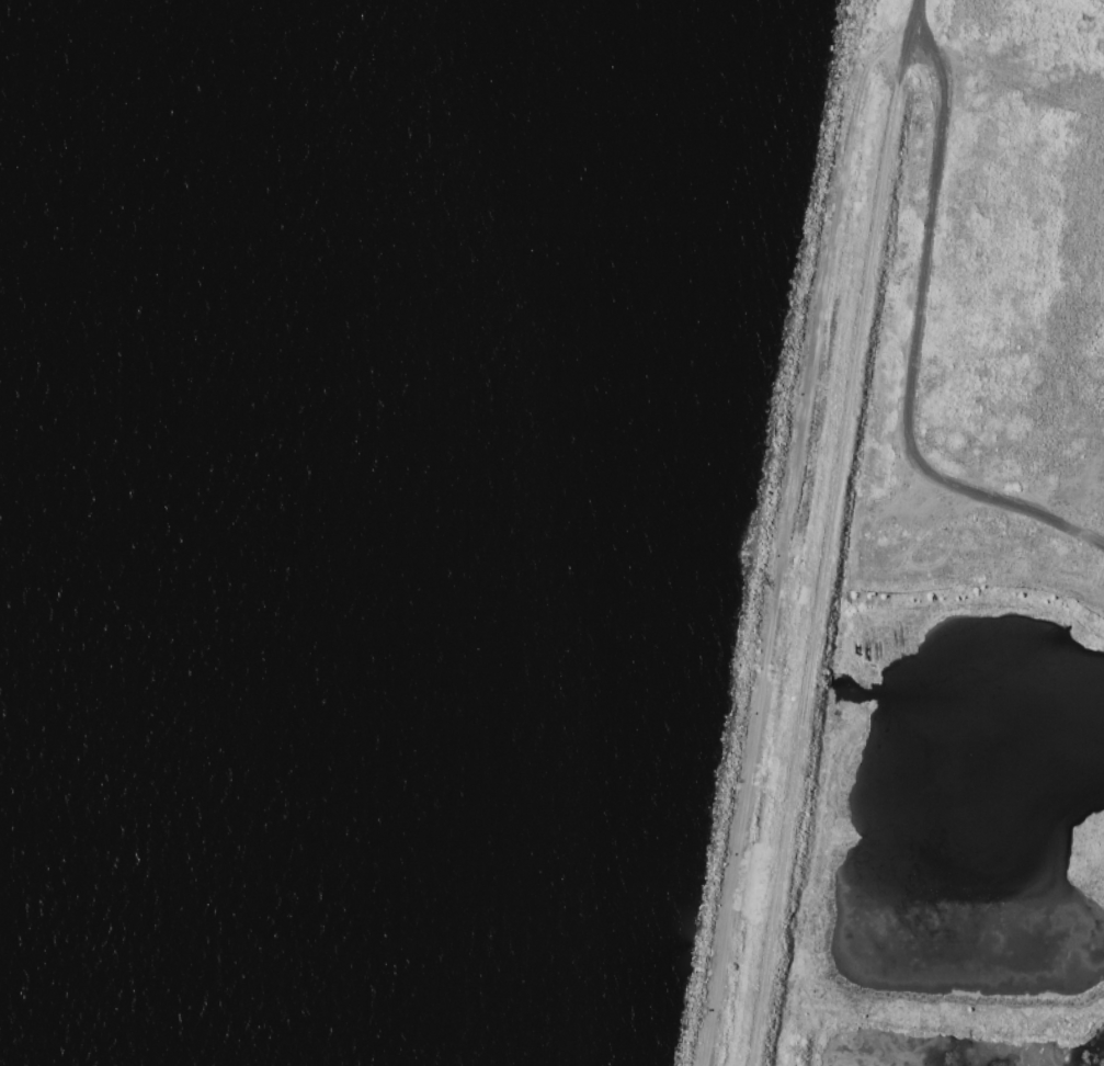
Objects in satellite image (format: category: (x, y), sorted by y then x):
road: (827, 532)

